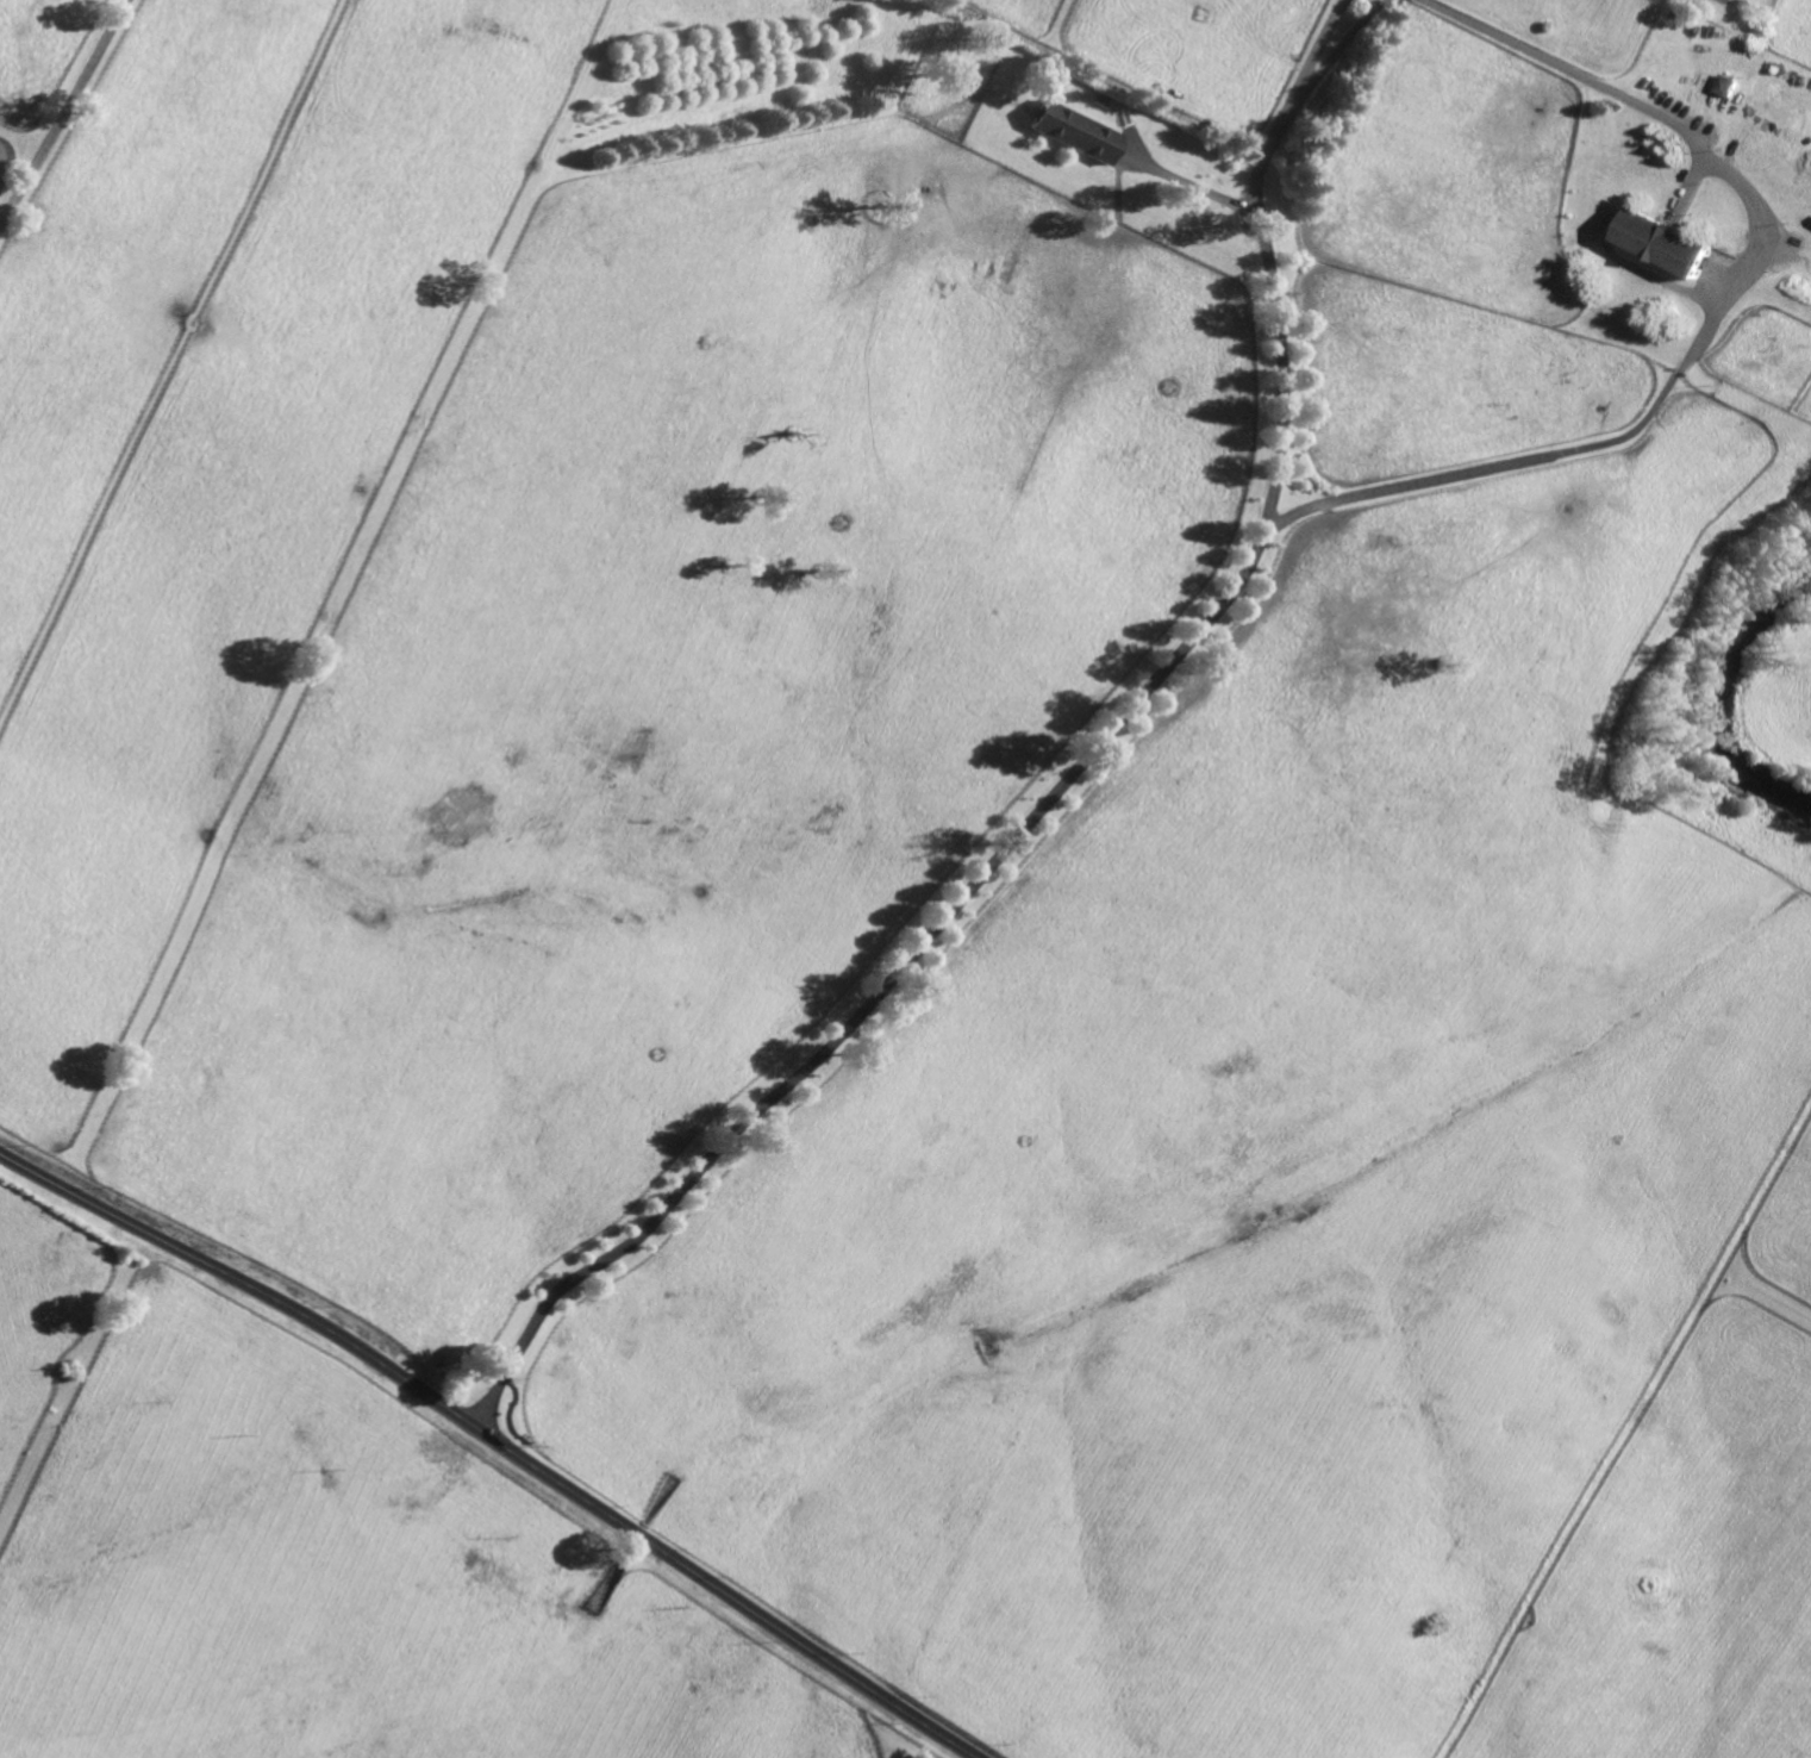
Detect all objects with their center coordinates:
road: (1339, 42)
building: (1726, 85)
building: (1099, 96)
road: (62, 112)
building: (1072, 131)
road: (1191, 185)
building: (1661, 244)
building: (1796, 285)
road: (1715, 317)
road: (1067, 785)
road: (497, 1440)

